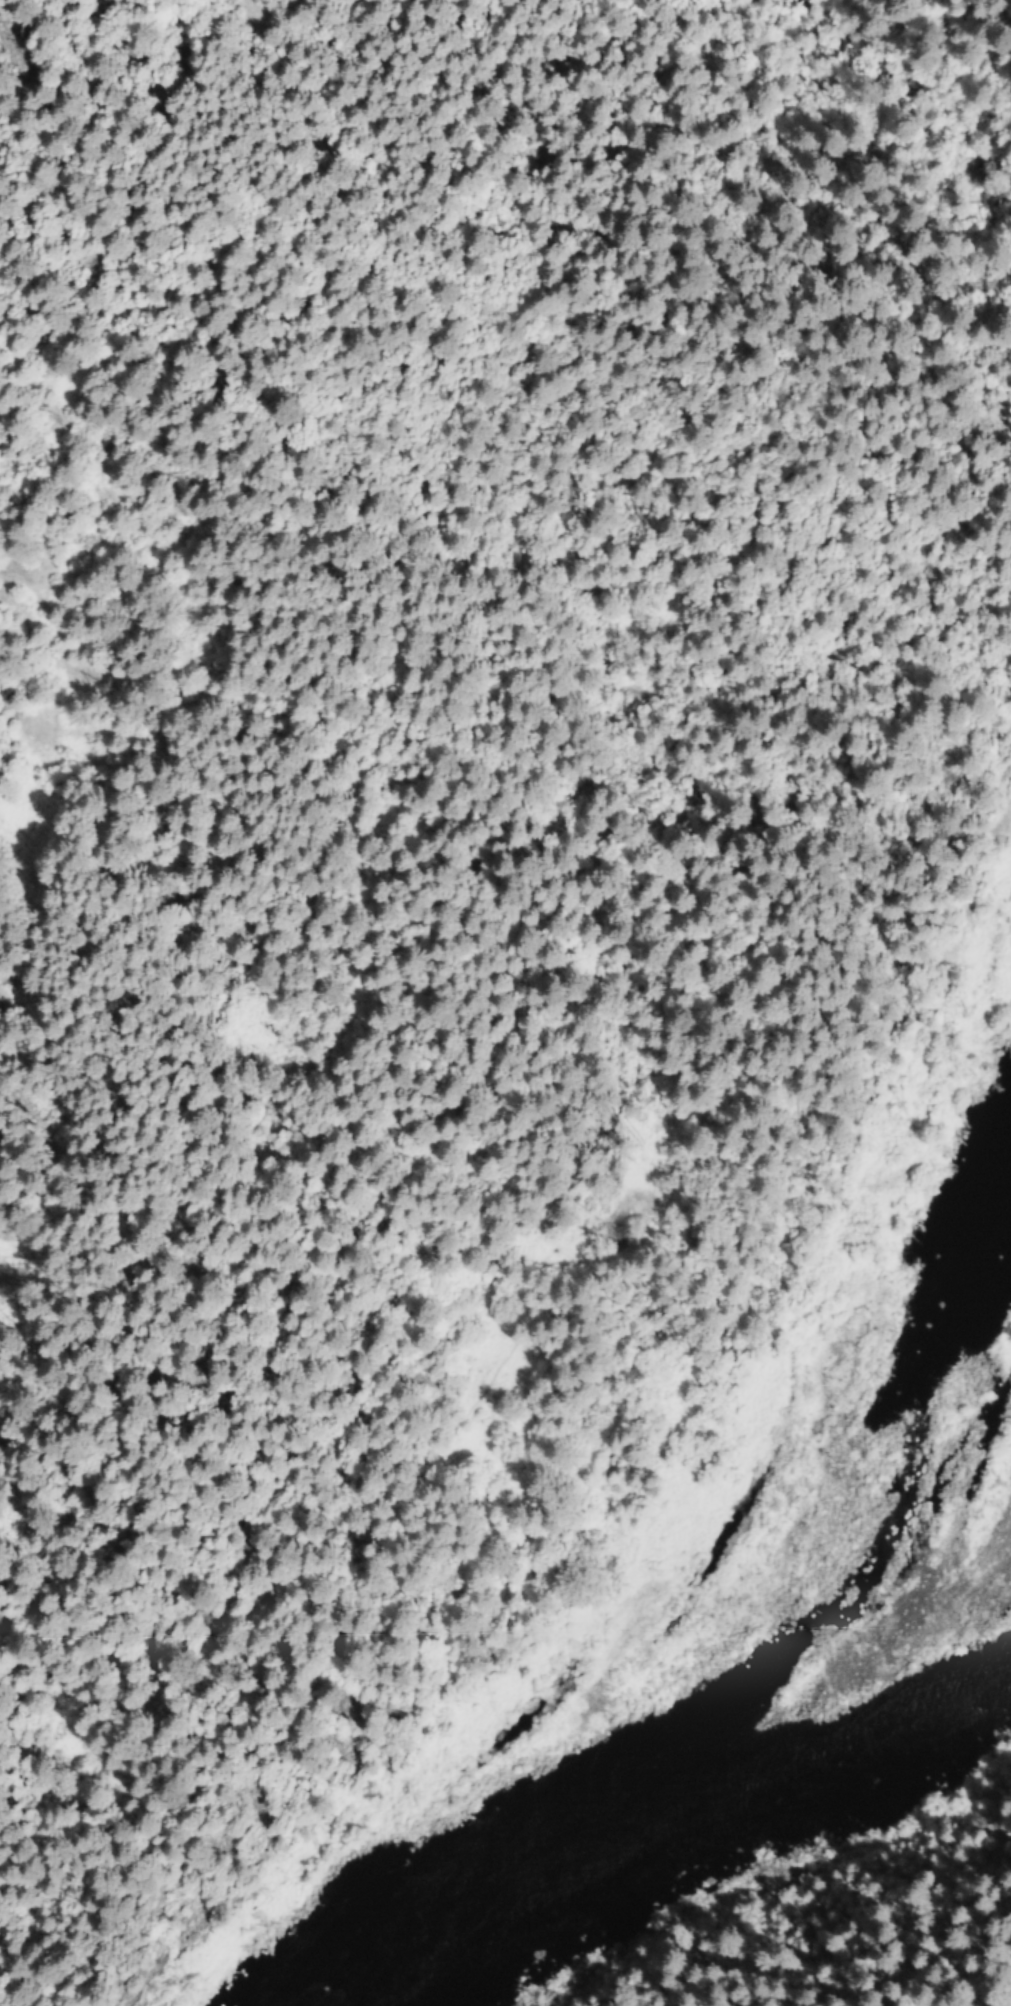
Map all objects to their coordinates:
road: (1008, 236)
road: (590, 1292)
river: (725, 1828)

